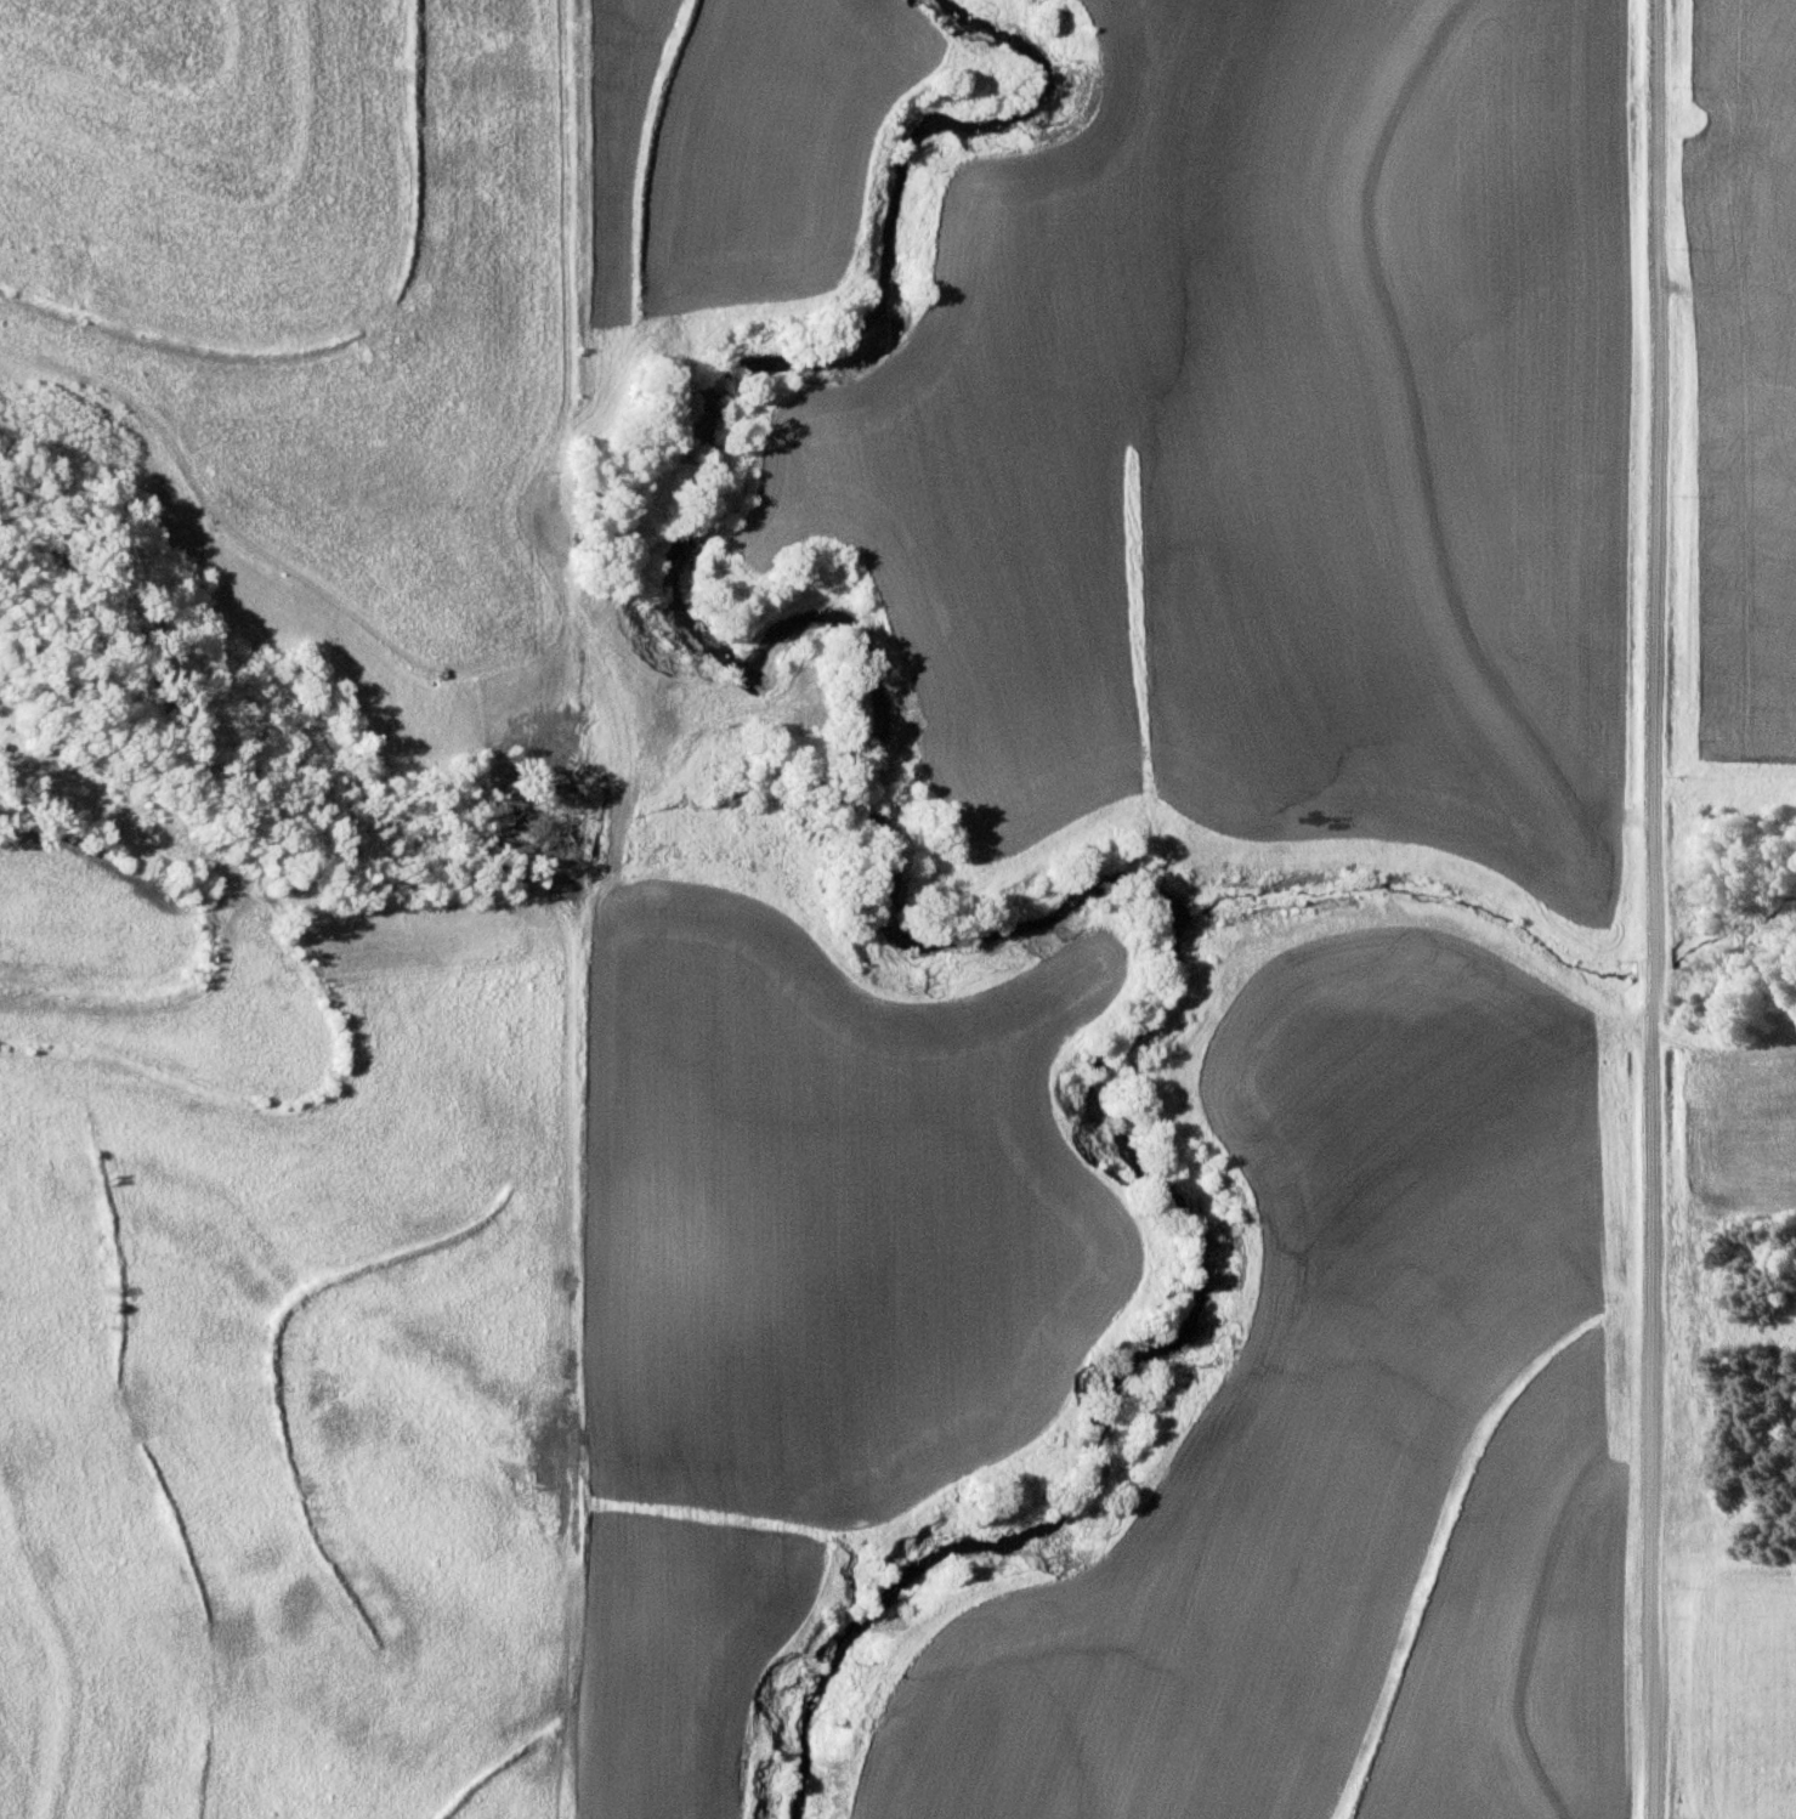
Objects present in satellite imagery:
building: (1770, 187)
road: (1726, 295)
building: (1790, 356)
road: (1655, 909)

